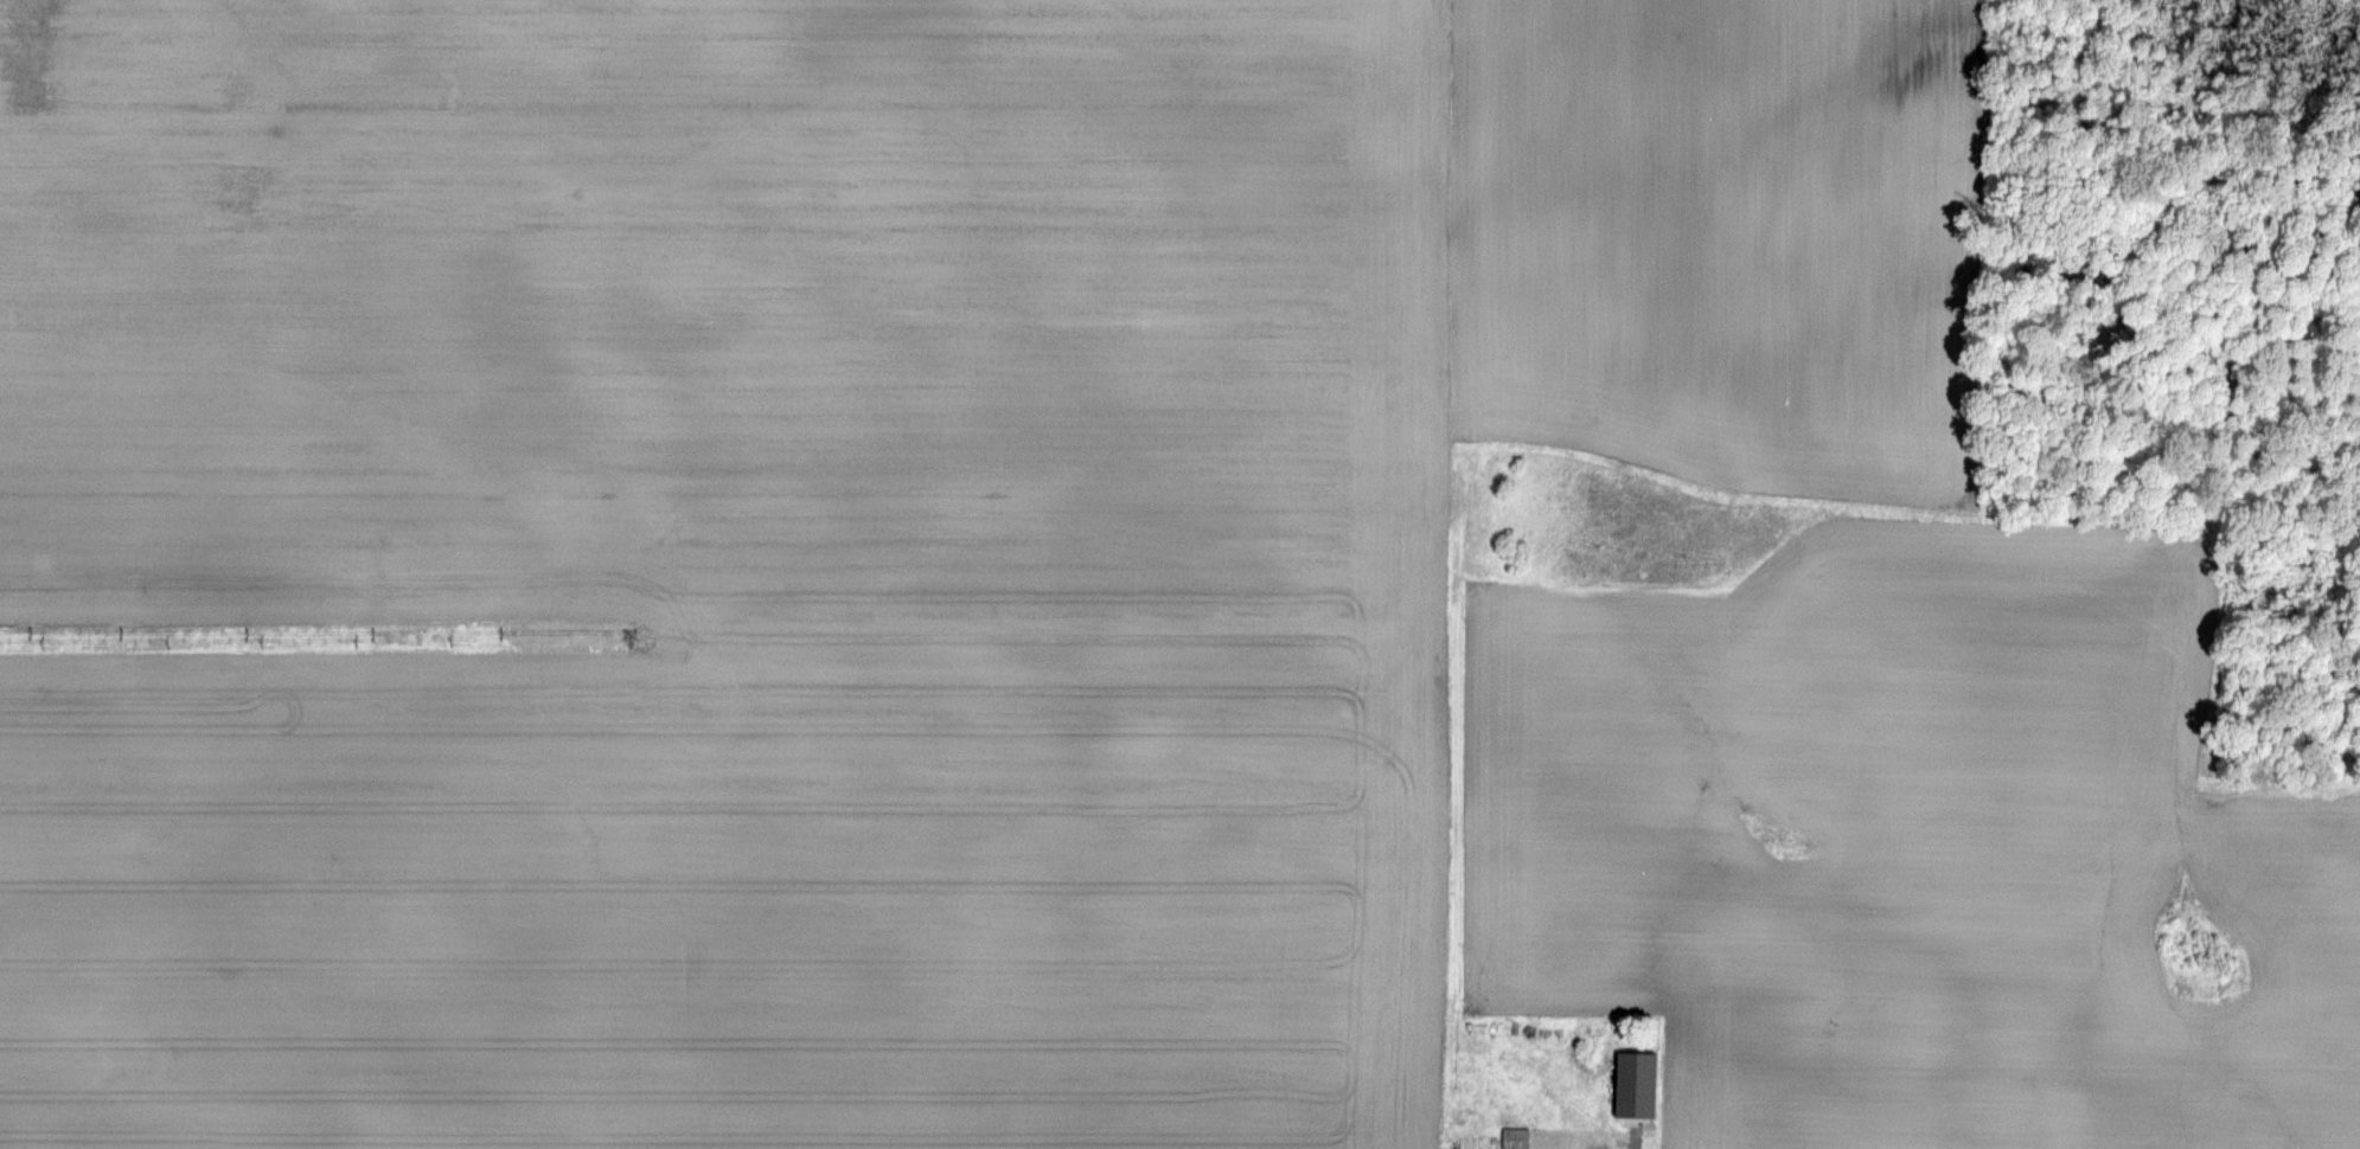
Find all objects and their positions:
building: (1631, 1084)
building: (1515, 1137)

